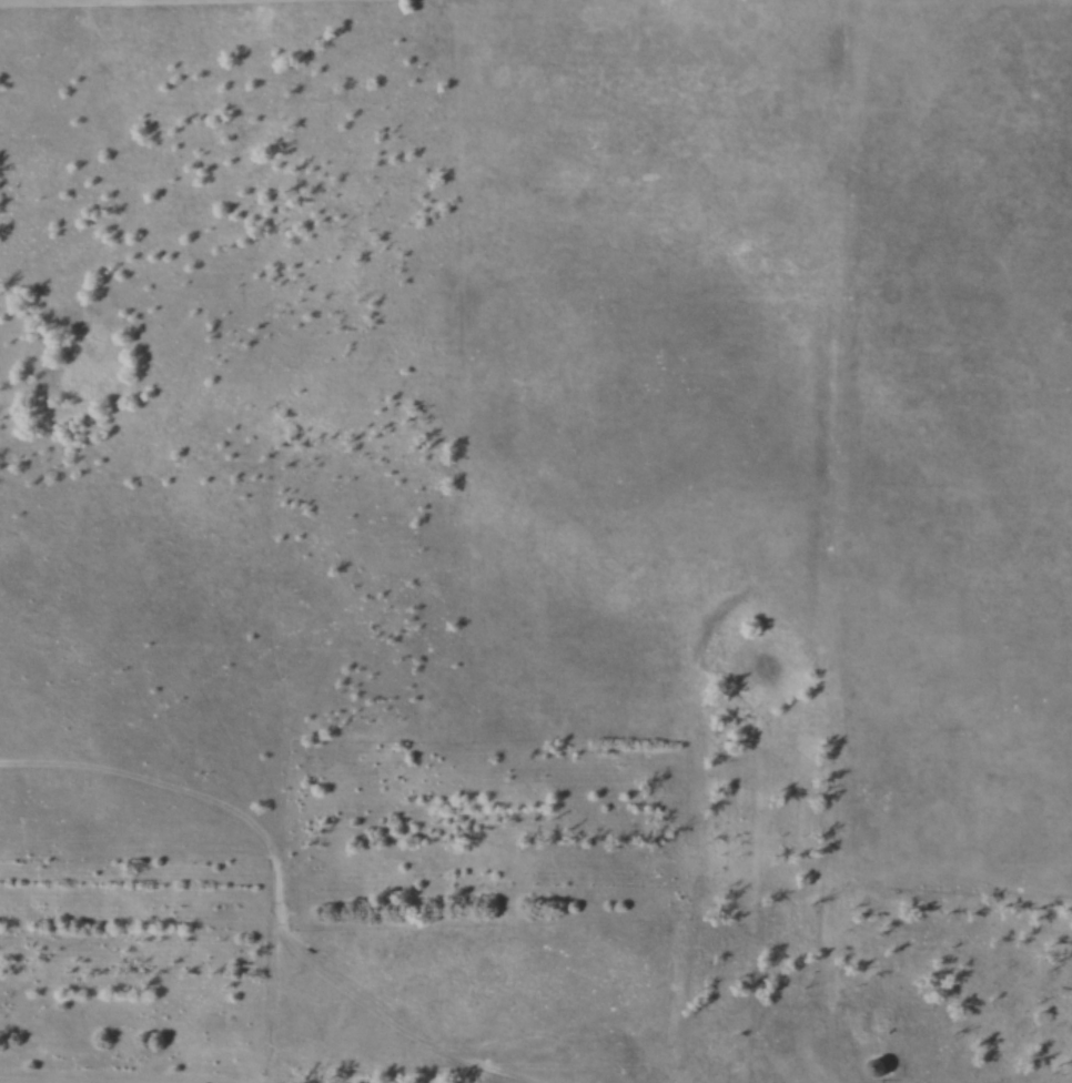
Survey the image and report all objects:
building: (1046, 569)
building: (871, 1066)

